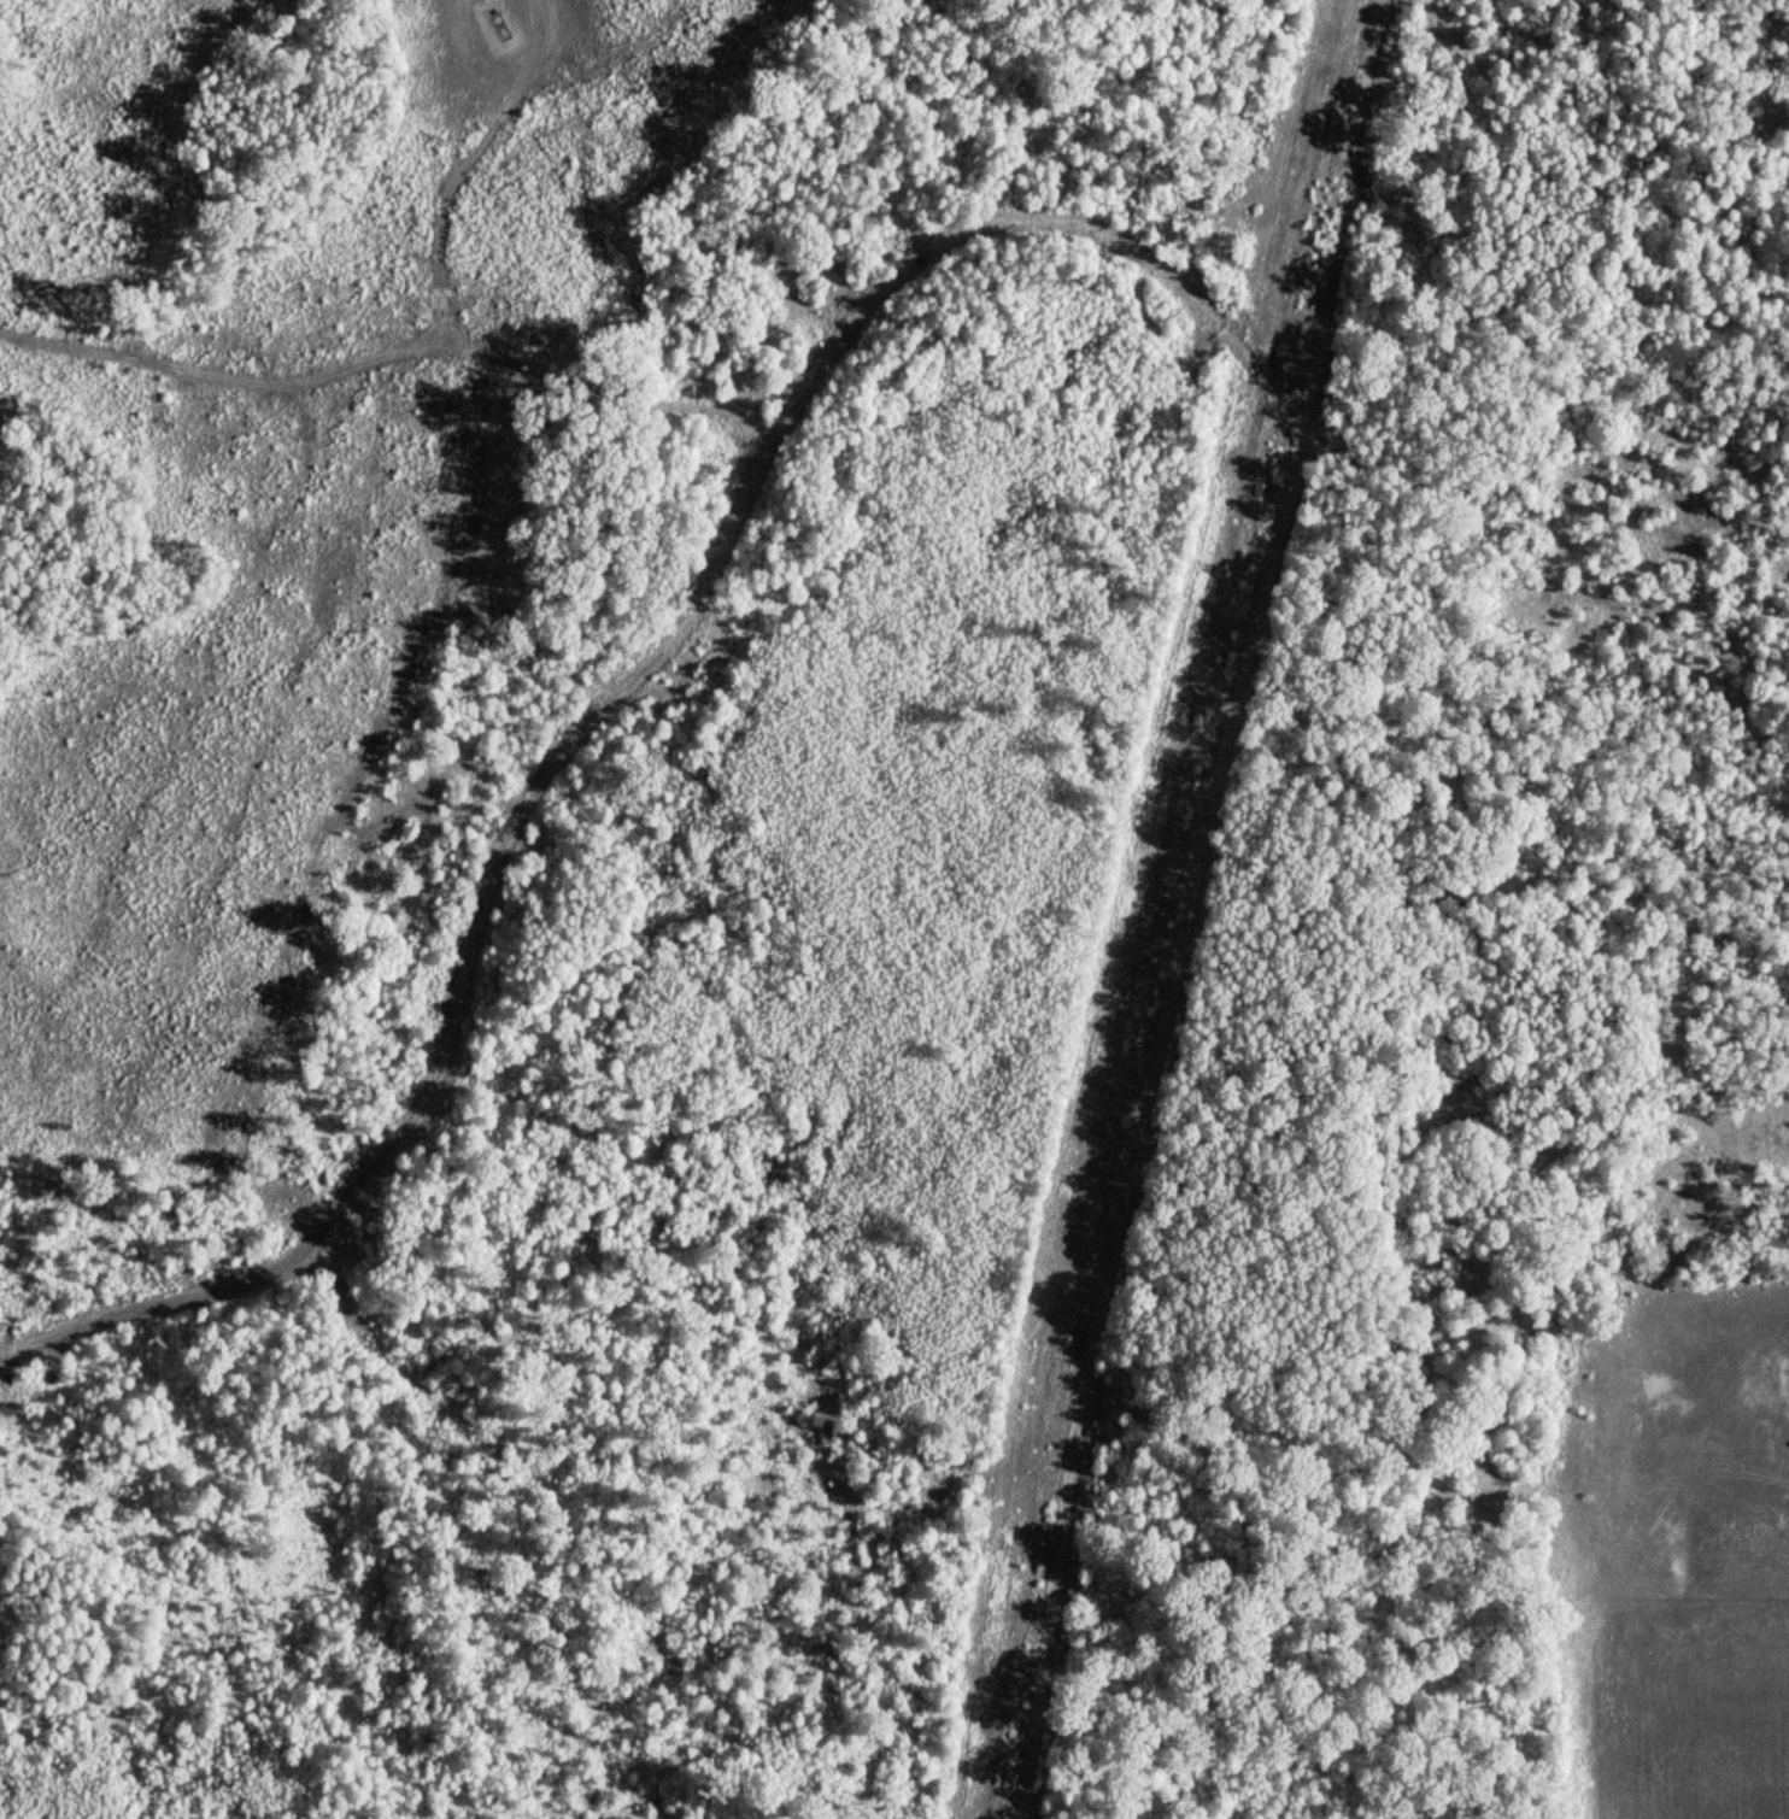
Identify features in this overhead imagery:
petroleum well: (497, 30)
road: (1191, 905)

